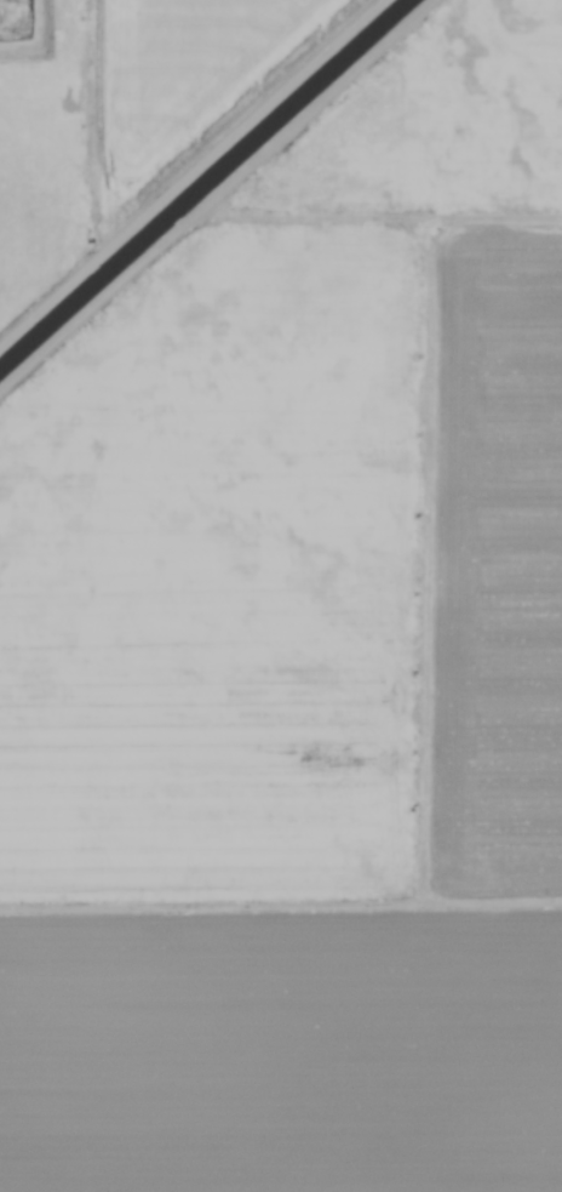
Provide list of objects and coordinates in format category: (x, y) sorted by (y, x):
road: (214, 193)
road: (377, 216)

